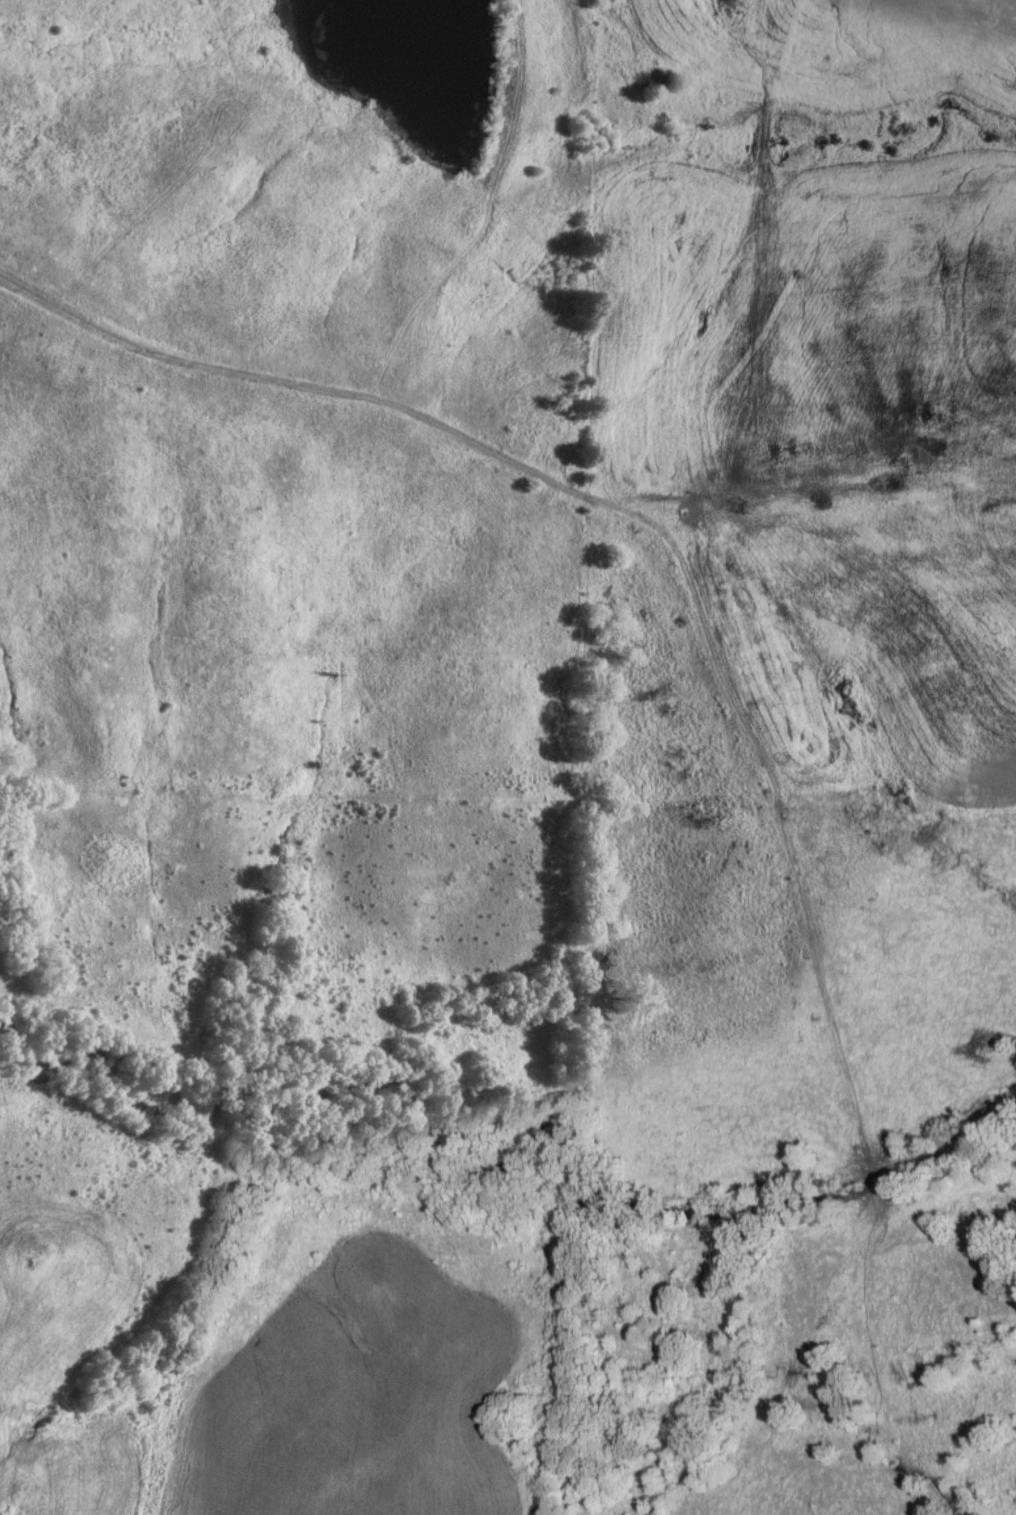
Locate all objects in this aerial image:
road: (699, 604)

